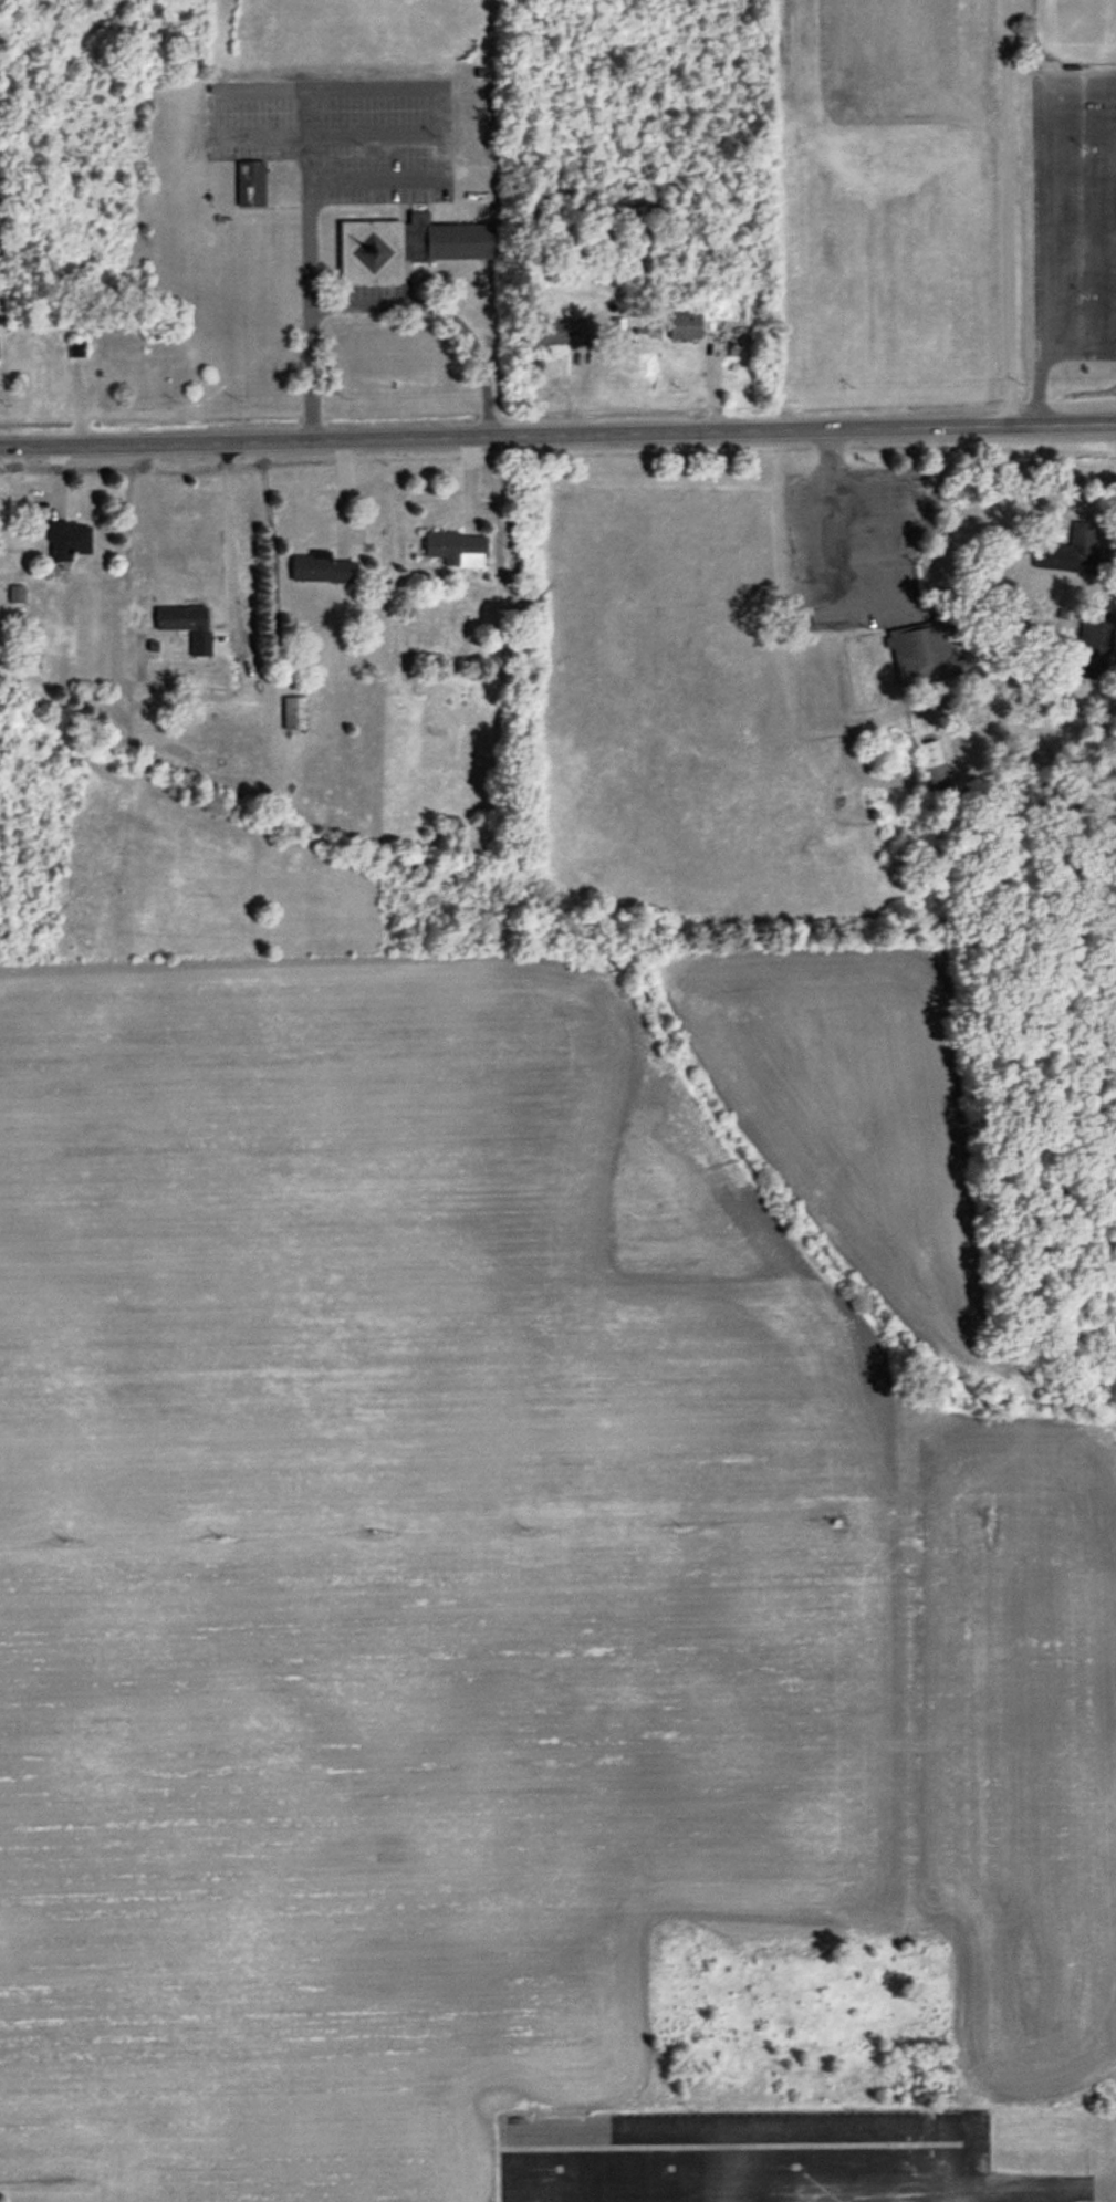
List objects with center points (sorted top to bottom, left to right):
road: (317, 88)
building: (250, 184)
road: (1051, 184)
road: (1005, 210)
building: (404, 248)
road: (440, 313)
building: (685, 326)
building: (550, 334)
building: (580, 334)
road: (1042, 348)
road: (557, 430)
road: (226, 531)
building: (67, 541)
building: (456, 550)
building: (1073, 553)
building: (320, 570)
building: (187, 626)
building: (921, 655)
building: (294, 714)
building: (935, 770)
road: (781, 2173)
road: (1077, 2189)

